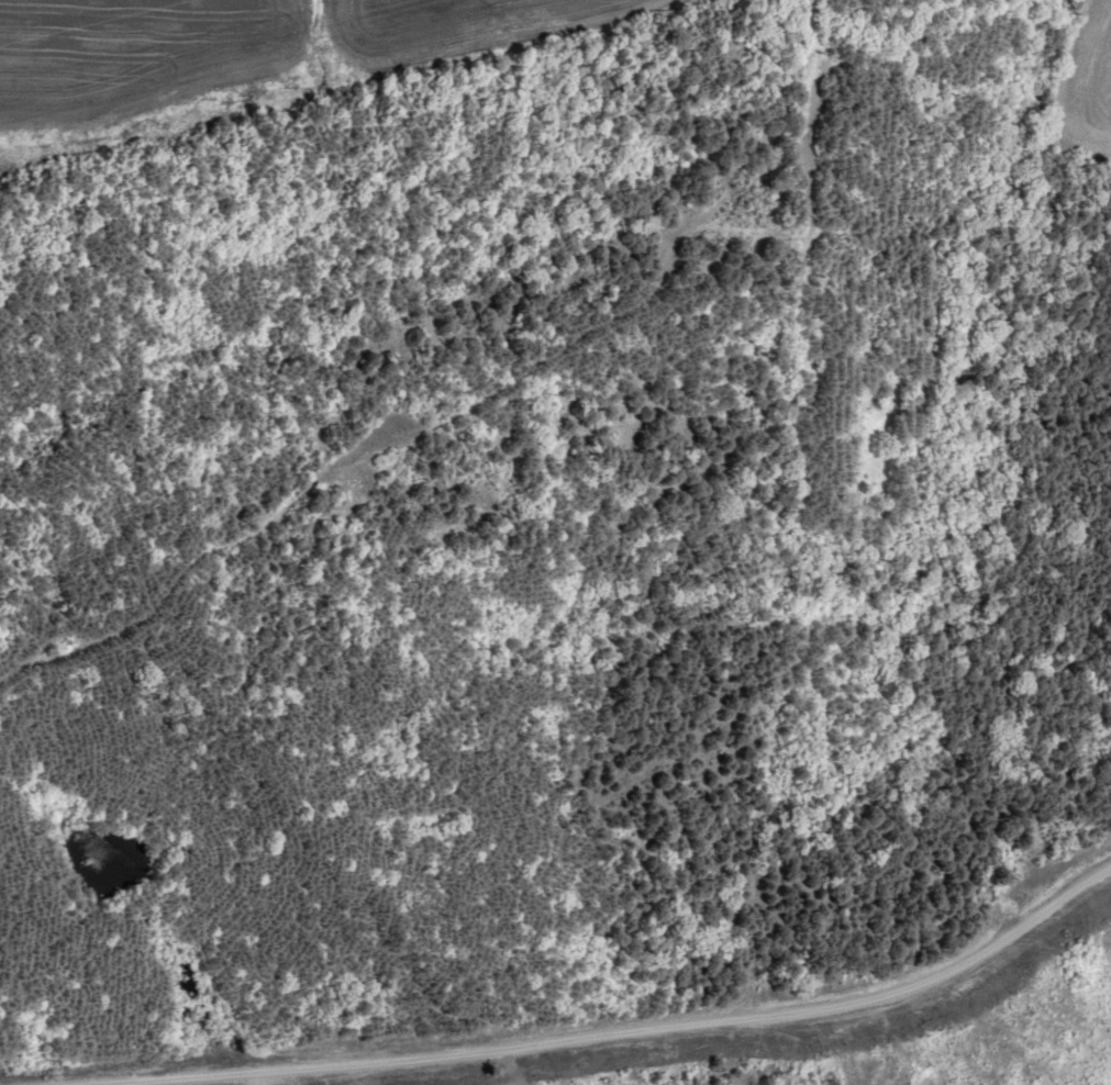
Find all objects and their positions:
road: (564, 904)

